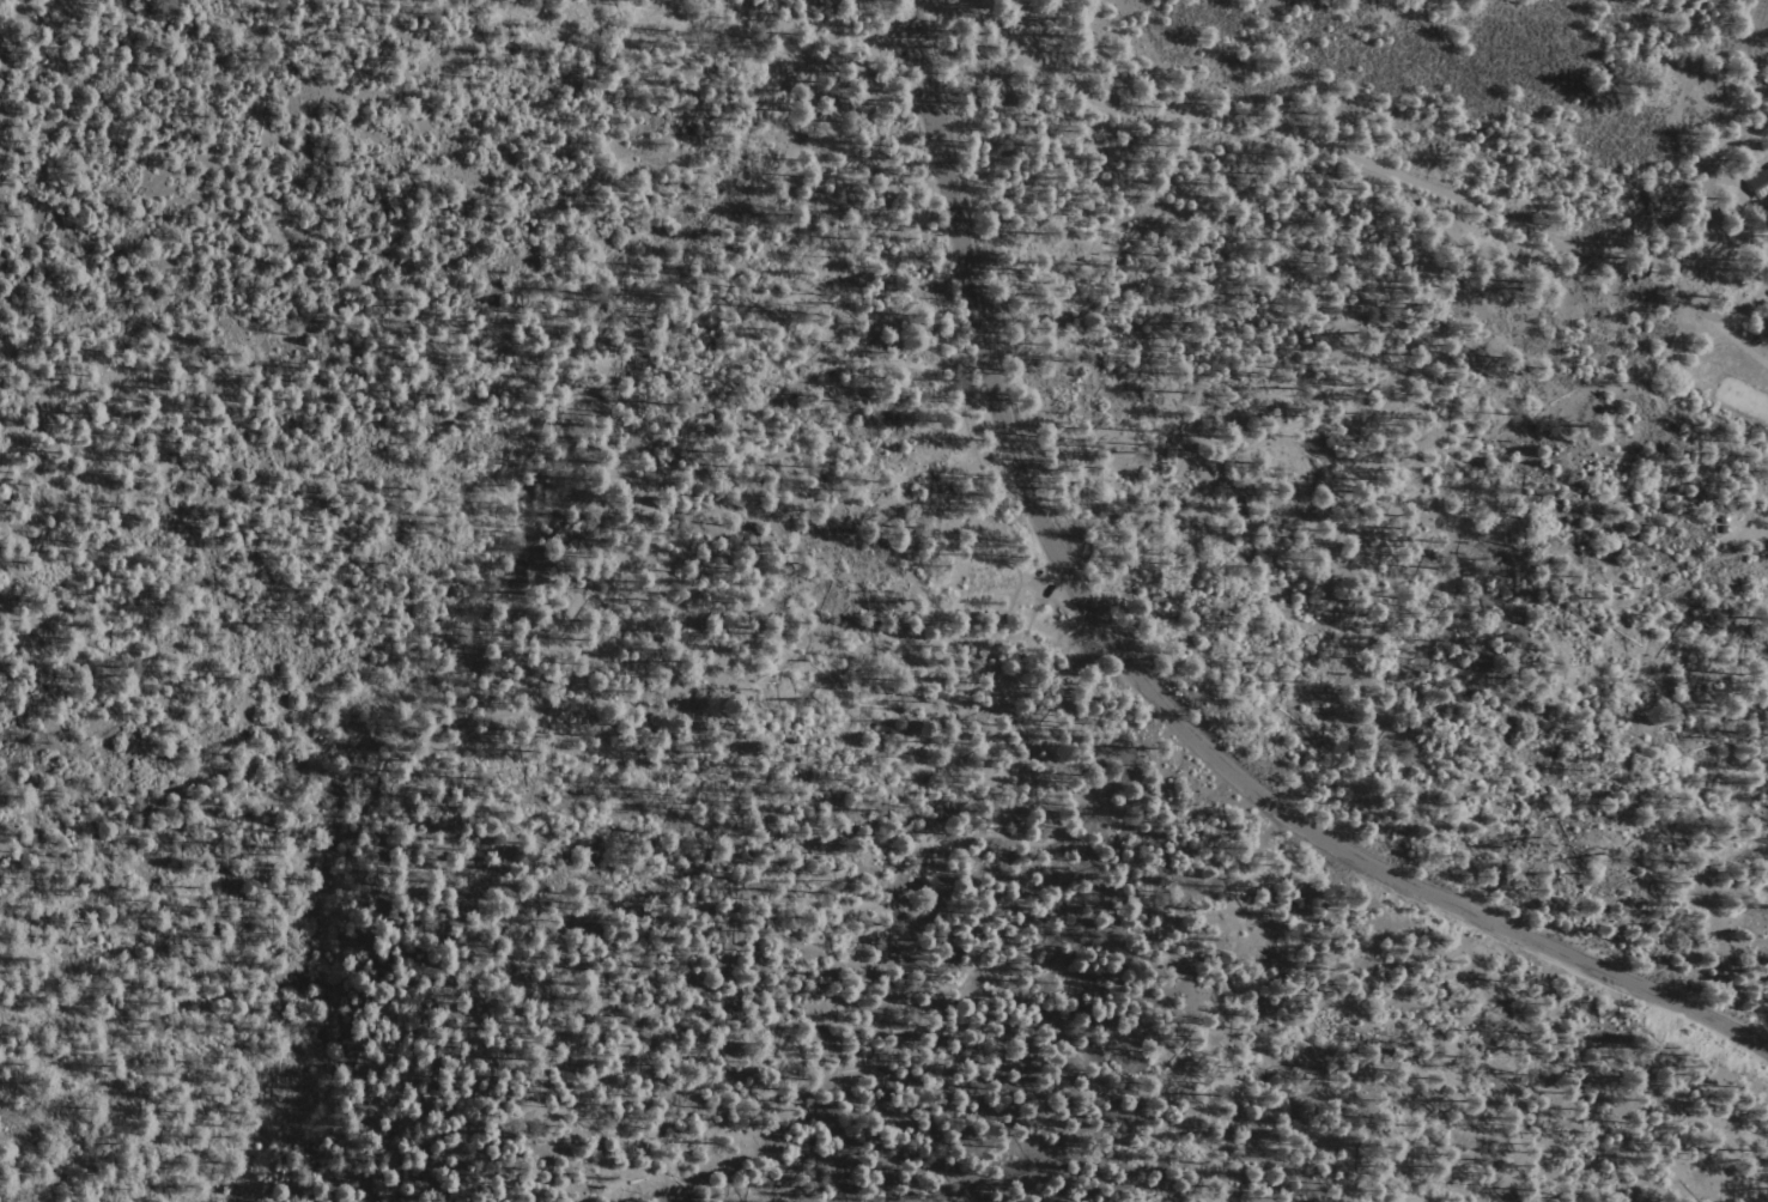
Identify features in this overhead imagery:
road: (1738, 138)
road: (1367, 165)
building: (1761, 183)
road: (944, 332)
road: (1146, 684)
road: (411, 739)

